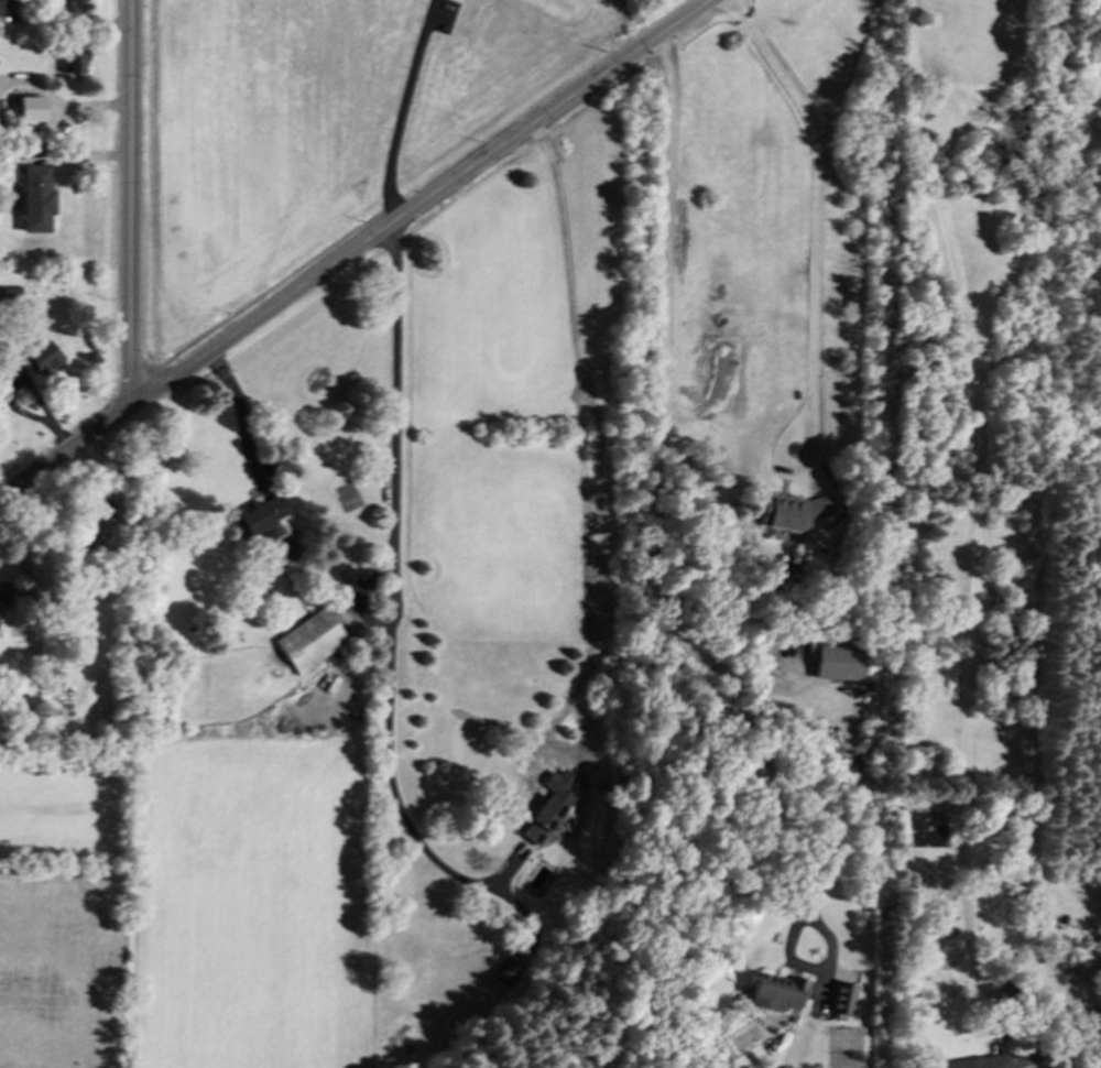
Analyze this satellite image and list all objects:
building: (3, 6)
building: (73, 59)
road: (403, 108)
building: (30, 109)
road: (815, 188)
road: (133, 198)
building: (35, 199)
road: (356, 249)
building: (41, 357)
road: (794, 475)
building: (792, 512)
building: (259, 519)
road: (975, 521)
building: (87, 527)
building: (345, 575)
road: (658, 580)
building: (4, 591)
road: (359, 592)
road: (393, 609)
building: (309, 641)
building: (840, 662)
building: (545, 817)
road: (505, 872)
building: (504, 971)
building: (776, 992)
building: (842, 999)
building: (980, 1061)

